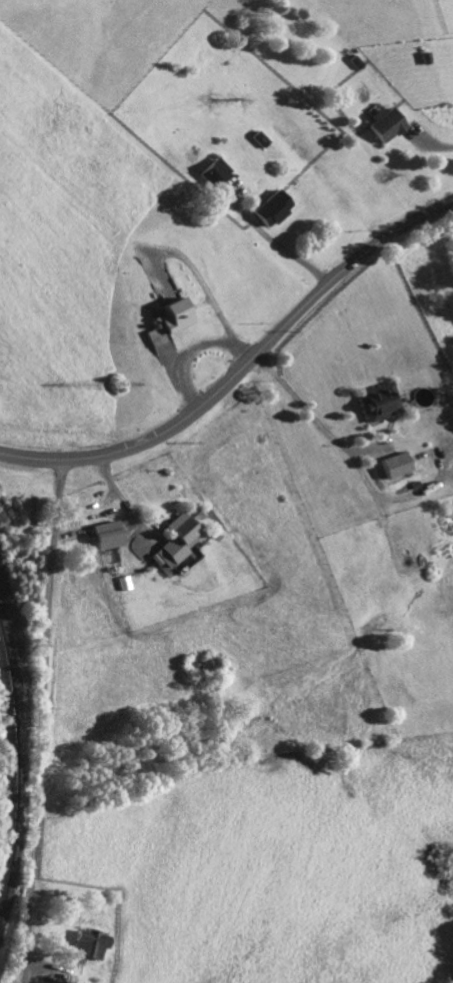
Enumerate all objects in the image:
building: (388, 125)
building: (217, 173)
building: (275, 209)
building: (177, 316)
road: (241, 365)
building: (381, 402)
road: (309, 413)
building: (396, 466)
building: (109, 536)
building: (178, 543)
road: (45, 721)
railway: (14, 770)
building: (92, 945)

